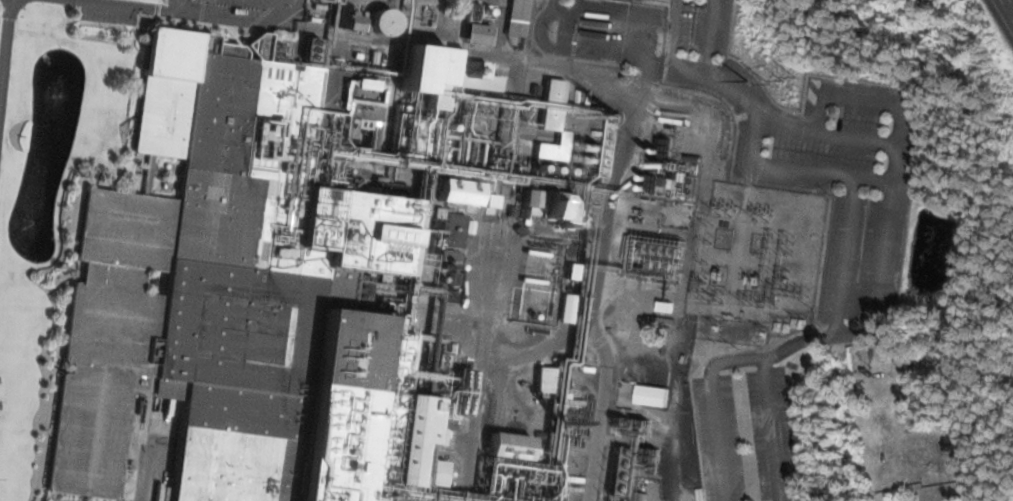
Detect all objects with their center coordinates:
road: (1009, 6)
road: (200, 10)
building: (518, 19)
building: (350, 22)
building: (386, 24)
building: (477, 29)
road: (5, 41)
power tower: (746, 79)
power tower: (782, 79)
building: (555, 91)
building: (551, 122)
road: (618, 161)
building: (461, 193)
building: (533, 200)
building: (561, 208)
building: (455, 232)
road: (885, 244)
power substation: (755, 253)
building: (261, 282)
road: (483, 356)
road: (605, 357)
building: (546, 381)
building: (652, 397)
building: (909, 415)

